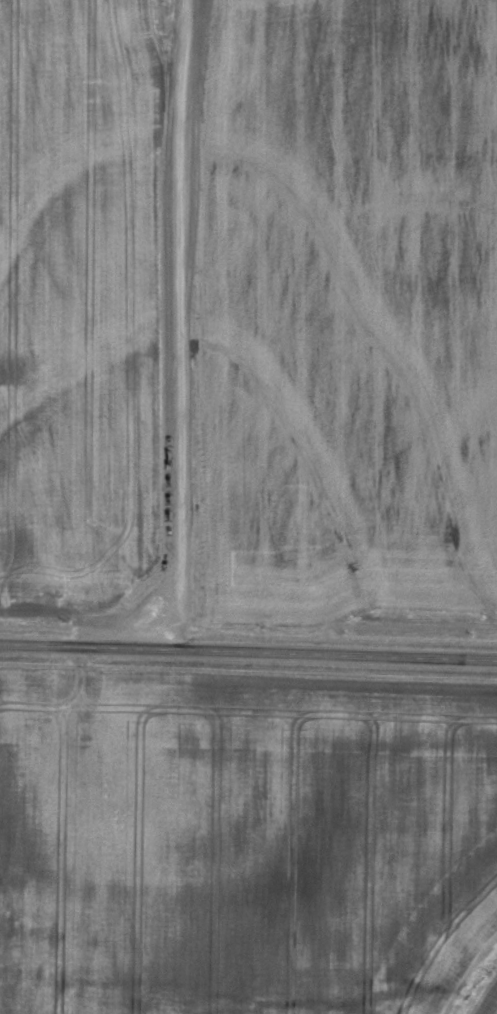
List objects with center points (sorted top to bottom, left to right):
road: (248, 651)

